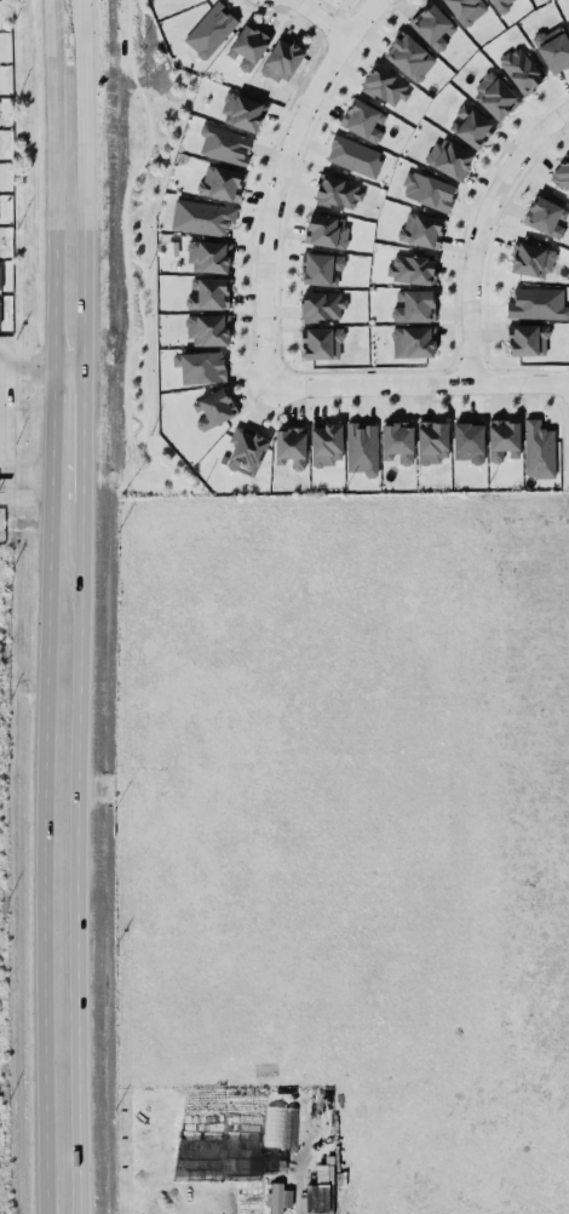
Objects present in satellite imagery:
building: (500, 6)
building: (466, 10)
building: (568, 18)
road: (320, 19)
building: (432, 25)
building: (211, 29)
building: (247, 46)
building: (553, 47)
building: (410, 57)
building: (282, 59)
building: (521, 69)
building: (385, 85)
building: (494, 95)
building: (242, 111)
building: (362, 120)
building: (471, 125)
building: (224, 144)
building: (354, 155)
building: (449, 158)
building: (562, 173)
road: (278, 179)
building: (220, 182)
road: (86, 183)
building: (427, 190)
building: (338, 191)
building: (546, 216)
building: (202, 217)
building: (326, 229)
building: (420, 229)
road: (479, 230)
building: (208, 256)
building: (530, 259)
building: (321, 268)
building: (410, 268)
building: (0, 276)
building: (207, 293)
building: (538, 303)
building: (322, 305)
building: (413, 305)
building: (0, 310)
building: (0, 323)
building: (208, 328)
building: (527, 339)
building: (413, 340)
building: (321, 342)
building: (201, 366)
road: (27, 367)
road: (69, 367)
road: (416, 383)
building: (212, 408)
building: (502, 439)
building: (432, 440)
building: (467, 440)
building: (397, 441)
building: (326, 442)
building: (289, 447)
building: (362, 447)
building: (538, 448)
building: (246, 449)
road: (84, 456)
road: (25, 479)
road: (48, 606)
road: (77, 878)
building: (281, 1126)
building: (321, 1190)
building: (278, 1197)

